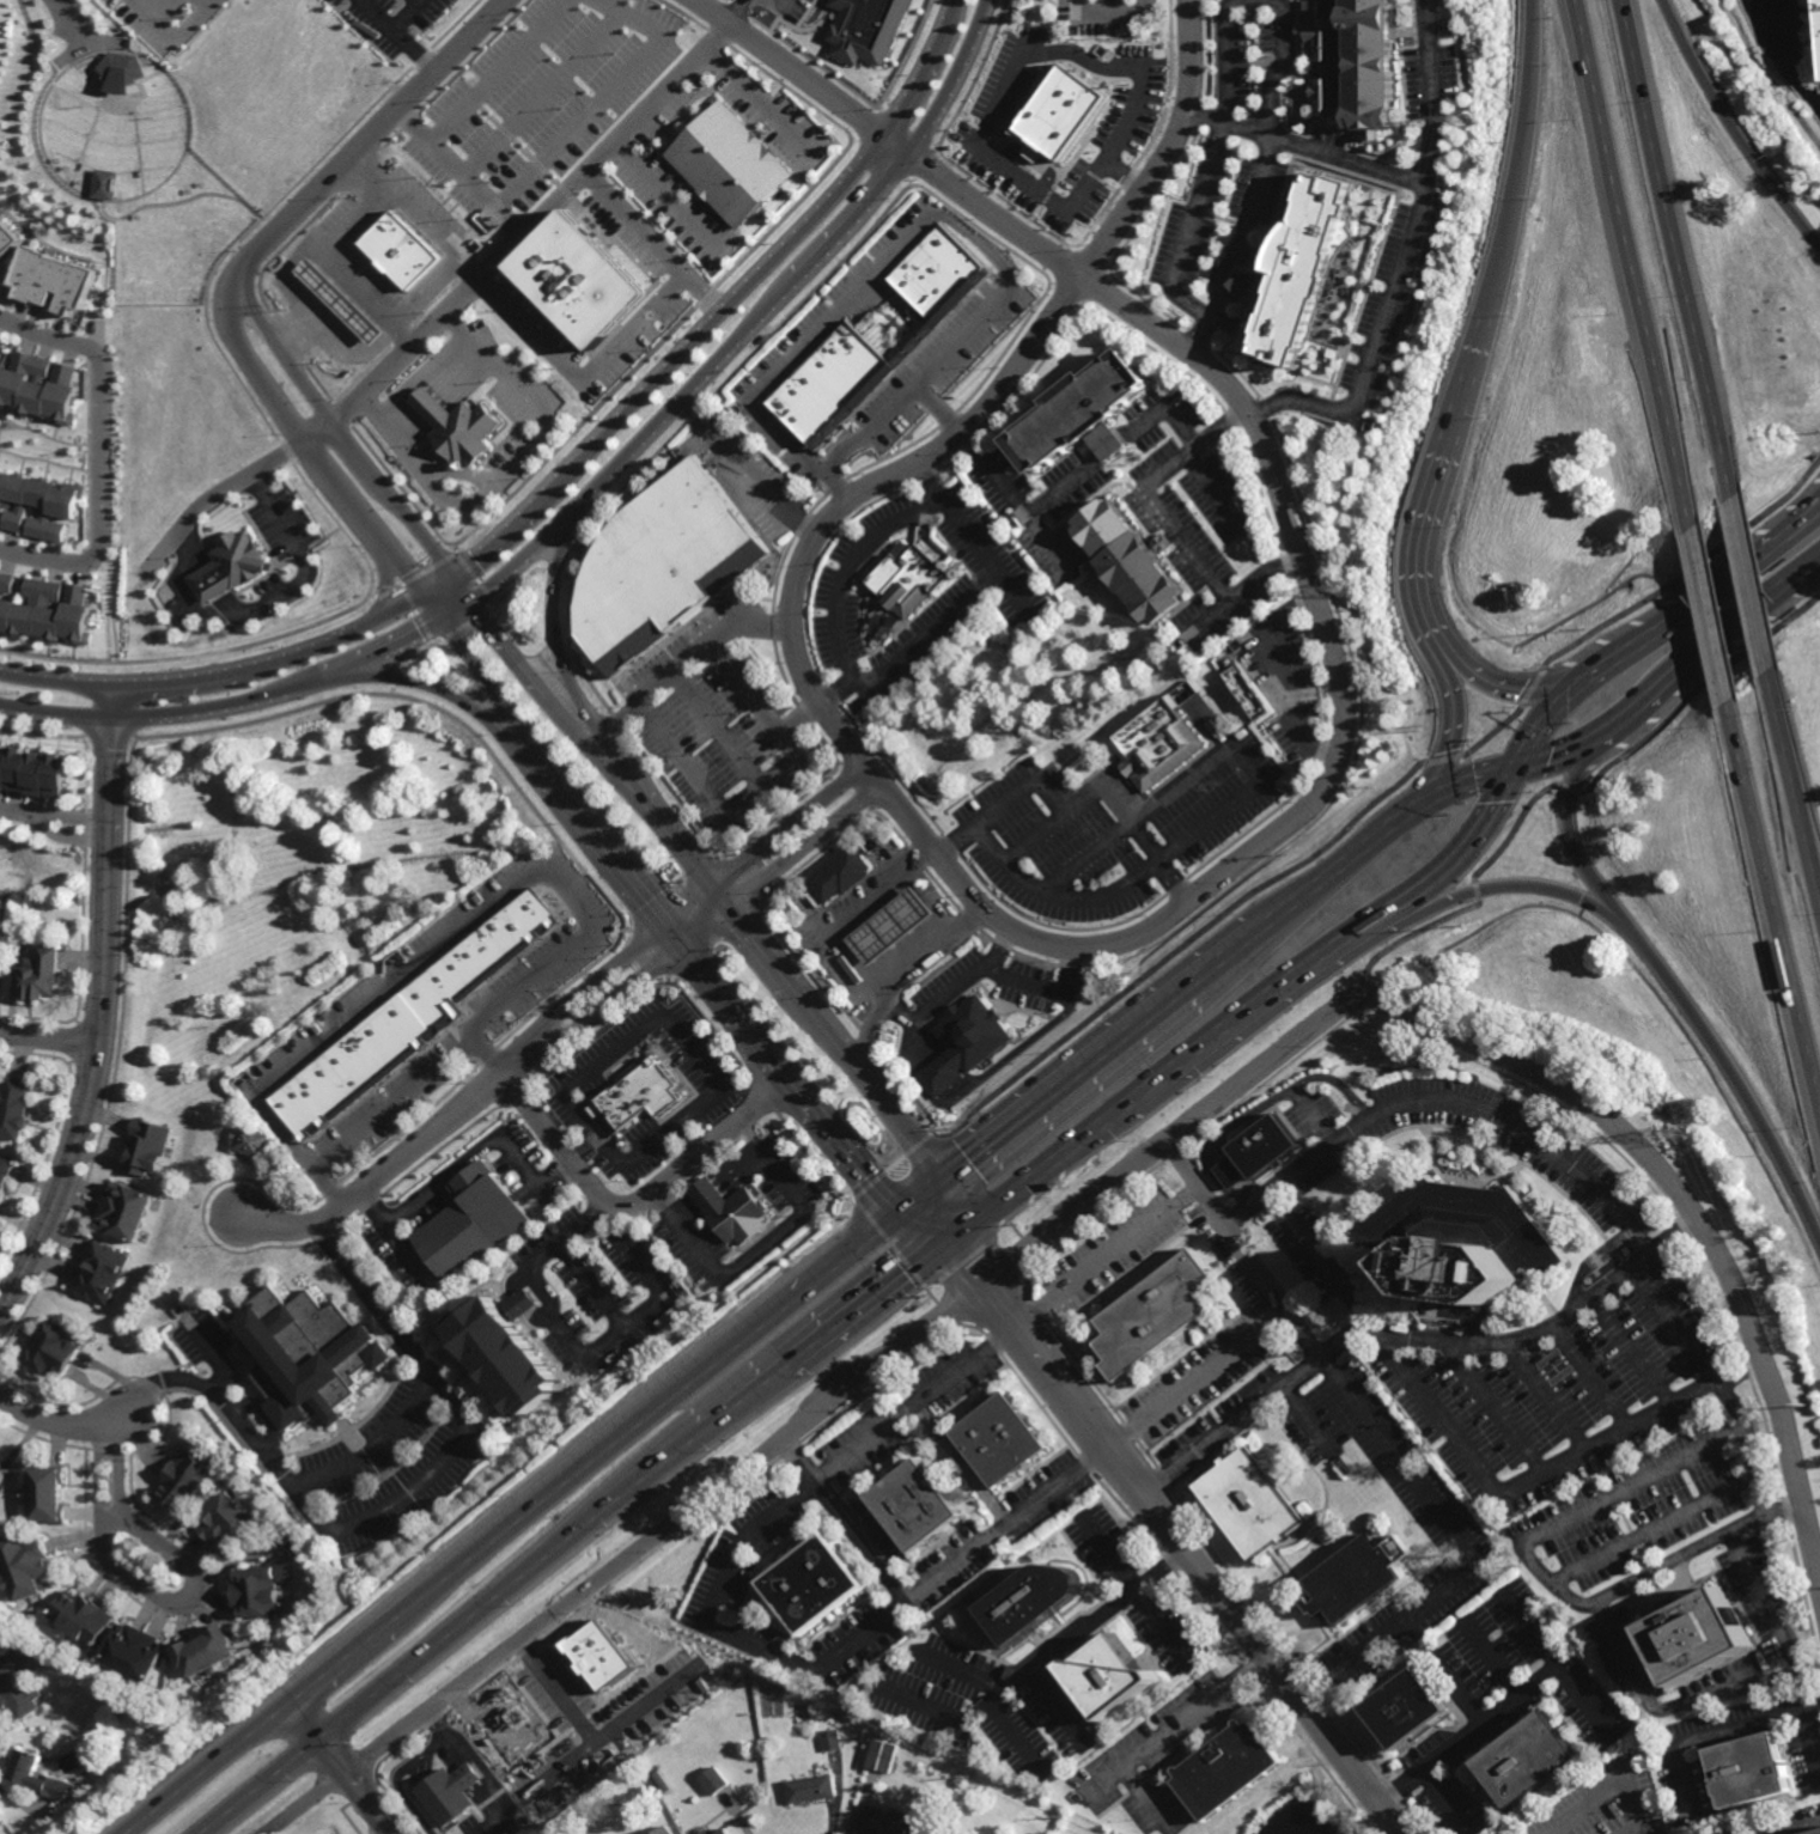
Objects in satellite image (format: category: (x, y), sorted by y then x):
road: (777, 1)
road: (1262, 1)
road: (1114, 8)
road: (734, 11)
road: (403, 14)
parking lot: (174, 19)
road: (80, 20)
building: (1326, 28)
building: (864, 29)
road: (174, 33)
road: (394, 35)
building: (1374, 63)
road: (495, 71)
building: (121, 73)
road: (1767, 74)
road: (1432, 91)
road: (538, 95)
road: (604, 96)
building: (1325, 96)
road: (994, 99)
road: (751, 104)
building: (1063, 115)
power tower: (1463, 120)
park: (112, 127)
road: (1733, 128)
road: (888, 139)
road: (1303, 146)
road: (353, 147)
road: (1169, 150)
road: (1522, 158)
building: (725, 166)
road: (578, 167)
road: (366, 169)
road: (455, 171)
building: (104, 184)
road: (99, 200)
road: (662, 200)
road: (351, 218)
road: (418, 221)
road: (1189, 227)
road: (516, 236)
building: (6, 237)
road: (979, 242)
road: (1237, 248)
road: (1679, 249)
building: (396, 250)
road: (1633, 260)
building: (1297, 268)
building: (944, 273)
road: (803, 274)
building: (574, 280)
building: (51, 281)
road: (352, 288)
road: (420, 291)
building: (337, 301)
road: (322, 309)
road: (841, 309)
building: (929, 327)
road: (299, 329)
building: (915, 341)
road: (1375, 347)
building: (901, 354)
road: (379, 372)
road: (921, 382)
road: (579, 384)
building: (834, 384)
road: (1468, 385)
road: (427, 386)
building: (39, 388)
road: (937, 412)
building: (1083, 414)
road: (1179, 426)
road: (1221, 426)
building: (452, 429)
road: (340, 441)
road: (801, 449)
road: (99, 452)
road: (311, 457)
road: (1095, 462)
road: (1169, 464)
road: (506, 470)
road: (745, 471)
road: (561, 475)
road: (1211, 492)
road: (215, 498)
road: (1015, 502)
building: (38, 506)
road: (1814, 512)
road: (957, 516)
road: (369, 543)
road: (1188, 544)
road: (1419, 549)
building: (239, 560)
building: (1133, 561)
road: (847, 565)
building: (661, 566)
building: (911, 572)
traffic signals: (451, 575)
road: (1268, 583)
building: (211, 584)
road: (1754, 584)
power tower: (1350, 587)
traffic signals: (420, 593)
road: (282, 595)
traffic signals: (468, 599)
road: (1761, 599)
road: (1700, 601)
building: (45, 610)
road: (1715, 611)
traffic signals: (438, 617)
road: (1210, 619)
road: (930, 620)
road: (555, 652)
road: (359, 660)
road: (1280, 676)
road: (531, 680)
traffic signals: (1588, 680)
road: (437, 689)
road: (748, 689)
road: (1506, 689)
road: (1654, 690)
building: (1255, 694)
road: (112, 705)
road: (55, 718)
road: (615, 718)
road: (1545, 718)
road: (720, 727)
power tower: (1423, 727)
road: (1451, 730)
building: (1164, 736)
road: (677, 750)
road: (626, 751)
road: (1559, 753)
traffic signals: (1514, 767)
building: (34, 769)
road: (1796, 775)
road: (1461, 781)
road: (1568, 788)
road: (1380, 802)
road: (1236, 803)
road: (1076, 805)
traffic signals: (1413, 808)
road: (22, 816)
road: (77, 816)
road: (1563, 828)
road: (75, 834)
road: (1035, 841)
road: (1460, 854)
road: (1337, 870)
building: (841, 877)
road: (529, 878)
road: (1499, 886)
traffic signals: (712, 888)
road: (1777, 895)
road: (695, 901)
road: (936, 902)
road: (560, 907)
traffic signals: (729, 908)
road: (657, 909)
road: (858, 915)
road: (712, 921)
traffic signals: (669, 924)
building: (893, 926)
gas station: (893, 926)
traffic signals: (686, 944)
road: (1073, 948)
road: (1226, 953)
building: (43, 974)
road: (894, 976)
road: (786, 979)
building: (1, 982)
road: (1027, 983)
road: (1248, 1006)
road: (901, 1015)
building: (414, 1018)
road: (103, 1029)
road: (674, 1032)
road: (50, 1038)
building: (964, 1042)
road: (486, 1056)
road: (1733, 1071)
road: (955, 1080)
road: (1058, 1086)
building: (637, 1096)
road: (1445, 1101)
building: (16, 1107)
road: (1210, 1107)
road: (1261, 1111)
road: (1314, 1117)
power tower: (1685, 1135)
road: (913, 1137)
road: (687, 1138)
building: (252, 1141)
building: (147, 1146)
road: (481, 1147)
road: (753, 1147)
building: (1258, 1152)
road: (889, 1154)
road: (395, 1162)
road: (1039, 1169)
building: (5, 1174)
road: (863, 1175)
road: (718, 1188)
traffic signals: (921, 1194)
road: (637, 1201)
building: (124, 1211)
building: (730, 1211)
road: (937, 1214)
building: (474, 1224)
road: (390, 1236)
traffic signals: (954, 1236)
road: (887, 1239)
building: (1462, 1241)
road: (857, 1245)
road: (969, 1257)
road: (960, 1263)
road: (739, 1265)
road: (1582, 1265)
building: (101, 1272)
road: (591, 1285)
road: (870, 1302)
building: (1154, 1315)
road: (1413, 1335)
road: (572, 1343)
building: (53, 1351)
road: (1631, 1351)
building: (507, 1352)
road: (209, 1354)
building: (309, 1354)
road: (1593, 1376)
road: (1715, 1383)
road: (1544, 1396)
road: (747, 1401)
road: (1490, 1407)
power tower: (1806, 1407)
road: (266, 1414)
road: (1308, 1421)
road: (63, 1424)
road: (1456, 1440)
building: (998, 1442)
road: (1384, 1443)
road: (363, 1454)
road: (962, 1462)
parking lot: (389, 1466)
building: (184, 1482)
road: (407, 1491)
building: (49, 1495)
building: (1247, 1504)
building: (914, 1507)
road: (110, 1516)
road: (841, 1521)
building: (227, 1525)
road: (1652, 1530)
road: (627, 1556)
road: (461, 1566)
building: (25, 1567)
road: (1542, 1577)
building: (1355, 1580)
building: (809, 1588)
road: (1136, 1591)
building: (260, 1592)
road: (178, 1602)
building: (1030, 1602)
road: (1764, 1604)
building: (83, 1620)
road: (720, 1633)
road: (454, 1634)
building: (1693, 1635)
building: (207, 1653)
building: (134, 1655)
building: (601, 1656)
road: (1035, 1664)
road: (1556, 1664)
road: (954, 1670)
building: (1110, 1680)
road: (1451, 1688)
building: (597, 1689)
building: (19, 1692)
road: (1585, 1705)
road: (1678, 1705)
road: (1055, 1708)
building: (1405, 1711)
building: (115, 1716)
road: (1173, 1724)
building: (856, 1736)
road: (1706, 1736)
building: (519, 1737)
building: (830, 1738)
road: (1015, 1739)
road: (590, 1742)
road: (1810, 1745)
building: (883, 1754)
building: (1526, 1762)
road: (341, 1768)
road: (558, 1768)
building: (1222, 1771)
building: (1749, 1772)
building: (39, 1773)
road: (483, 1773)
road: (396, 1778)
building: (712, 1779)
building: (663, 1784)
road: (1612, 1785)
building: (812, 1787)
building: (699, 1790)
building: (448, 1793)
road: (1148, 1799)
road: (1444, 1803)
road: (1585, 1821)
building: (888, 1822)
road: (1796, 1827)
building: (663, 1830)
building: (722, 1830)
building: (1810, 1832)

